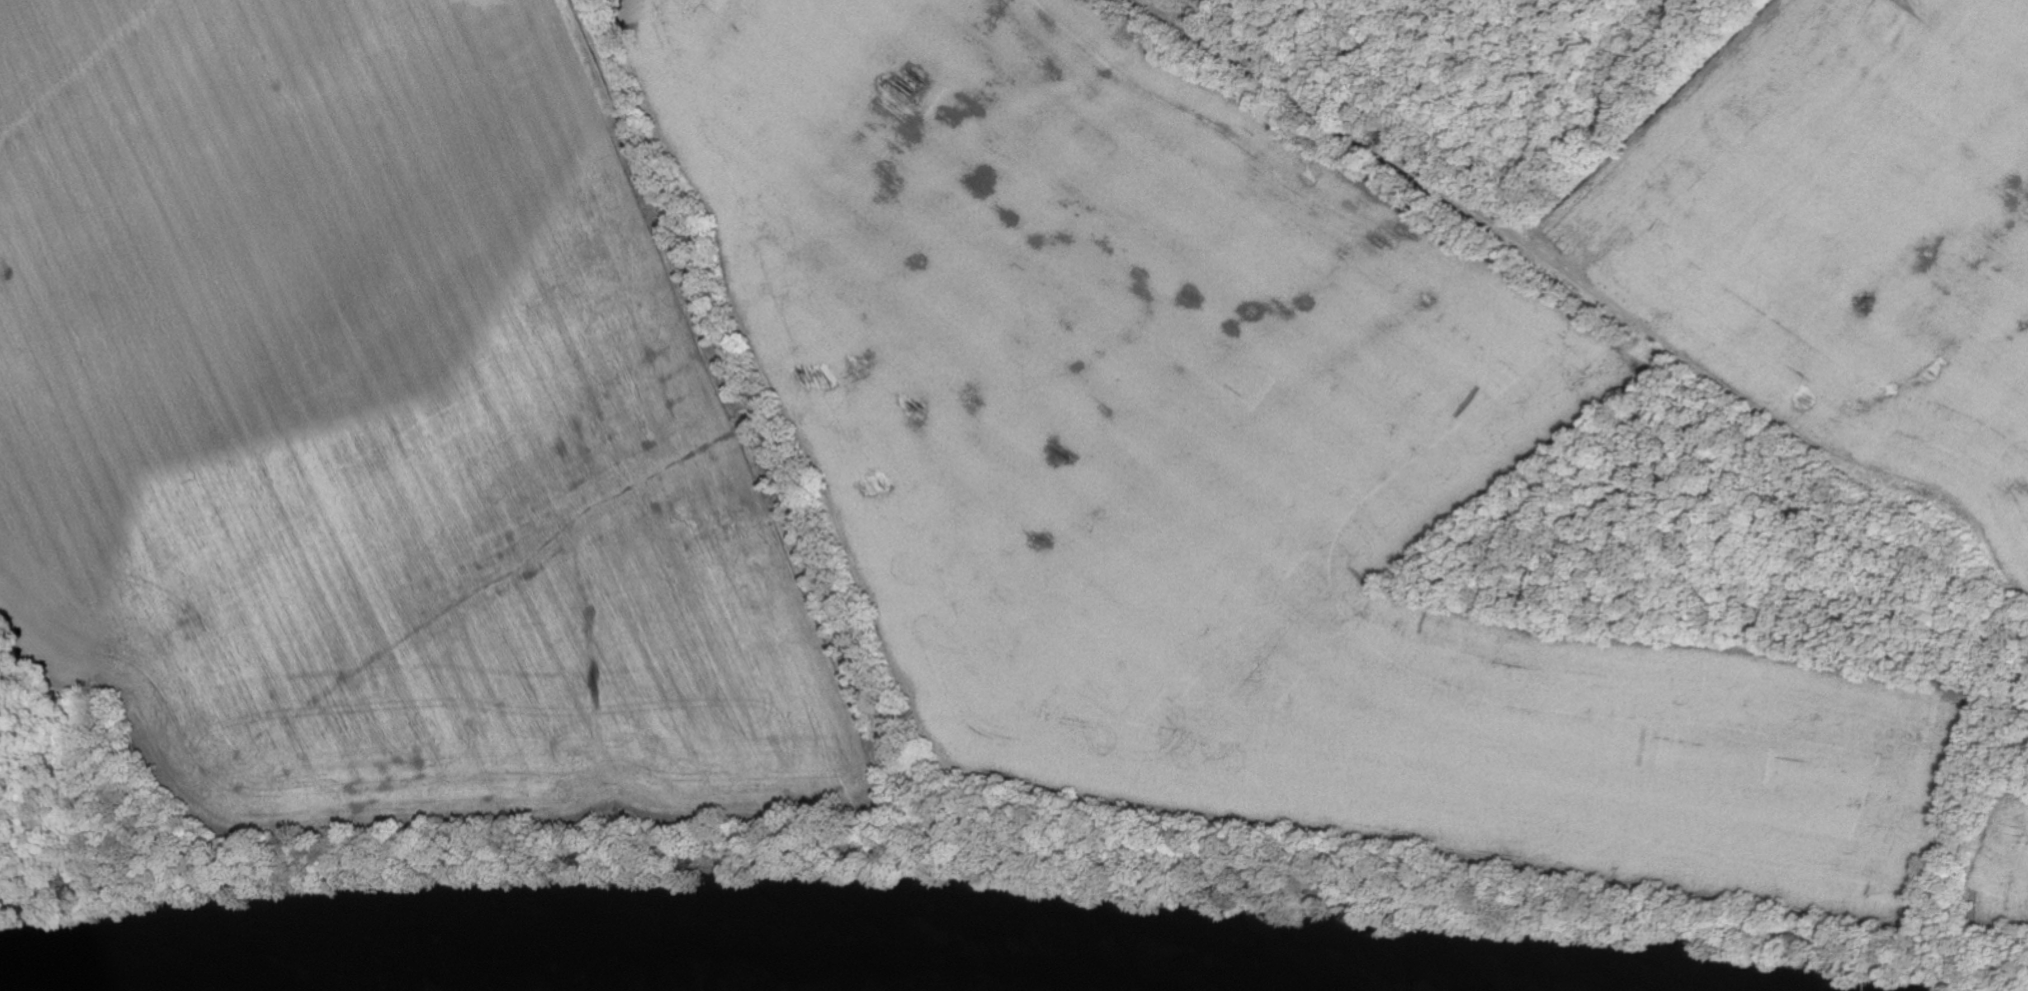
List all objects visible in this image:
river: (591, 980)

